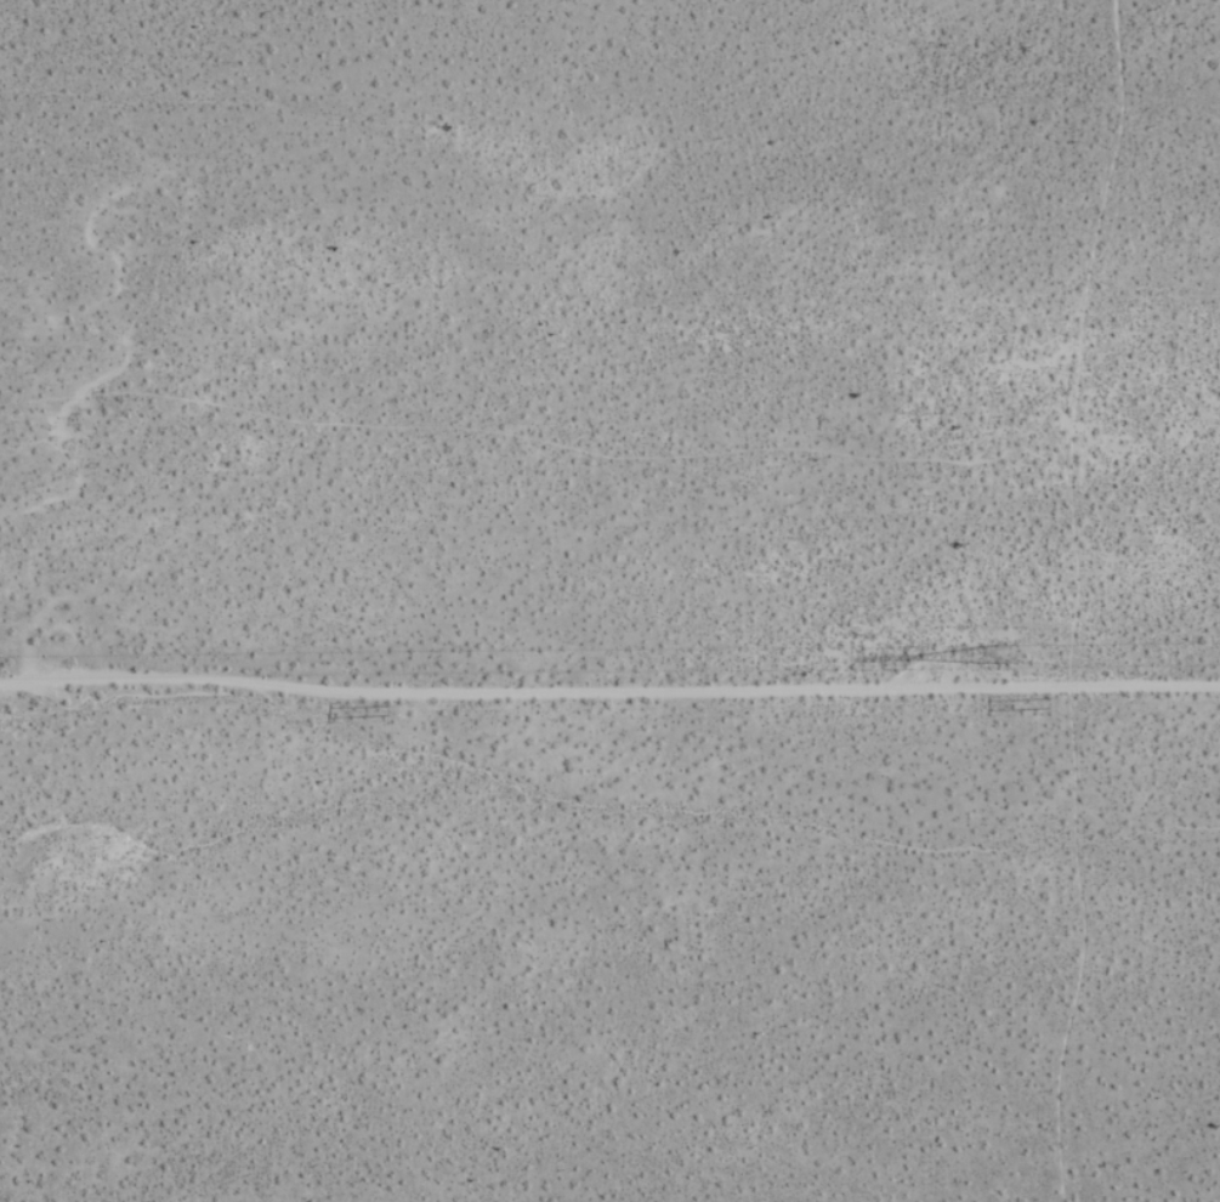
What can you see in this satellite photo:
power tower: (1025, 652)
power tower: (10, 662)
power tower: (1052, 702)
power tower: (390, 709)

